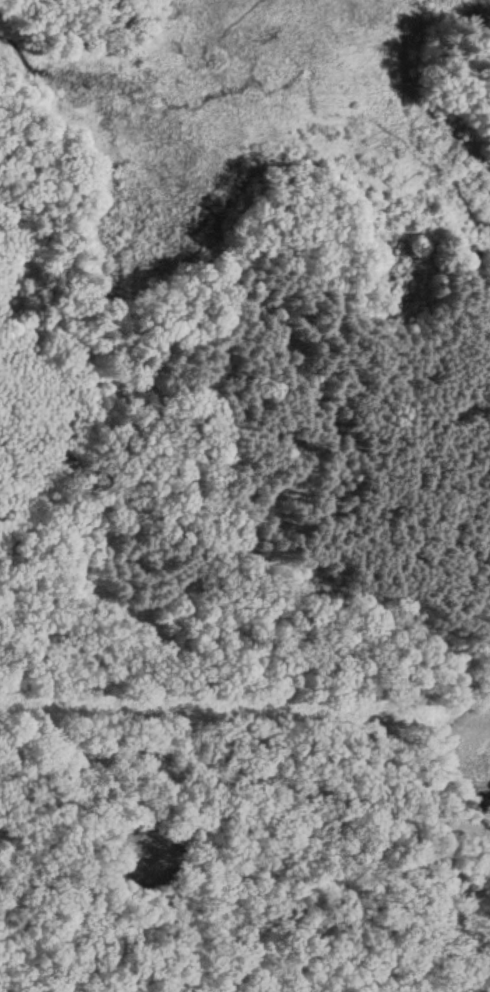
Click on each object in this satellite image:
road: (246, 776)
road: (400, 903)

